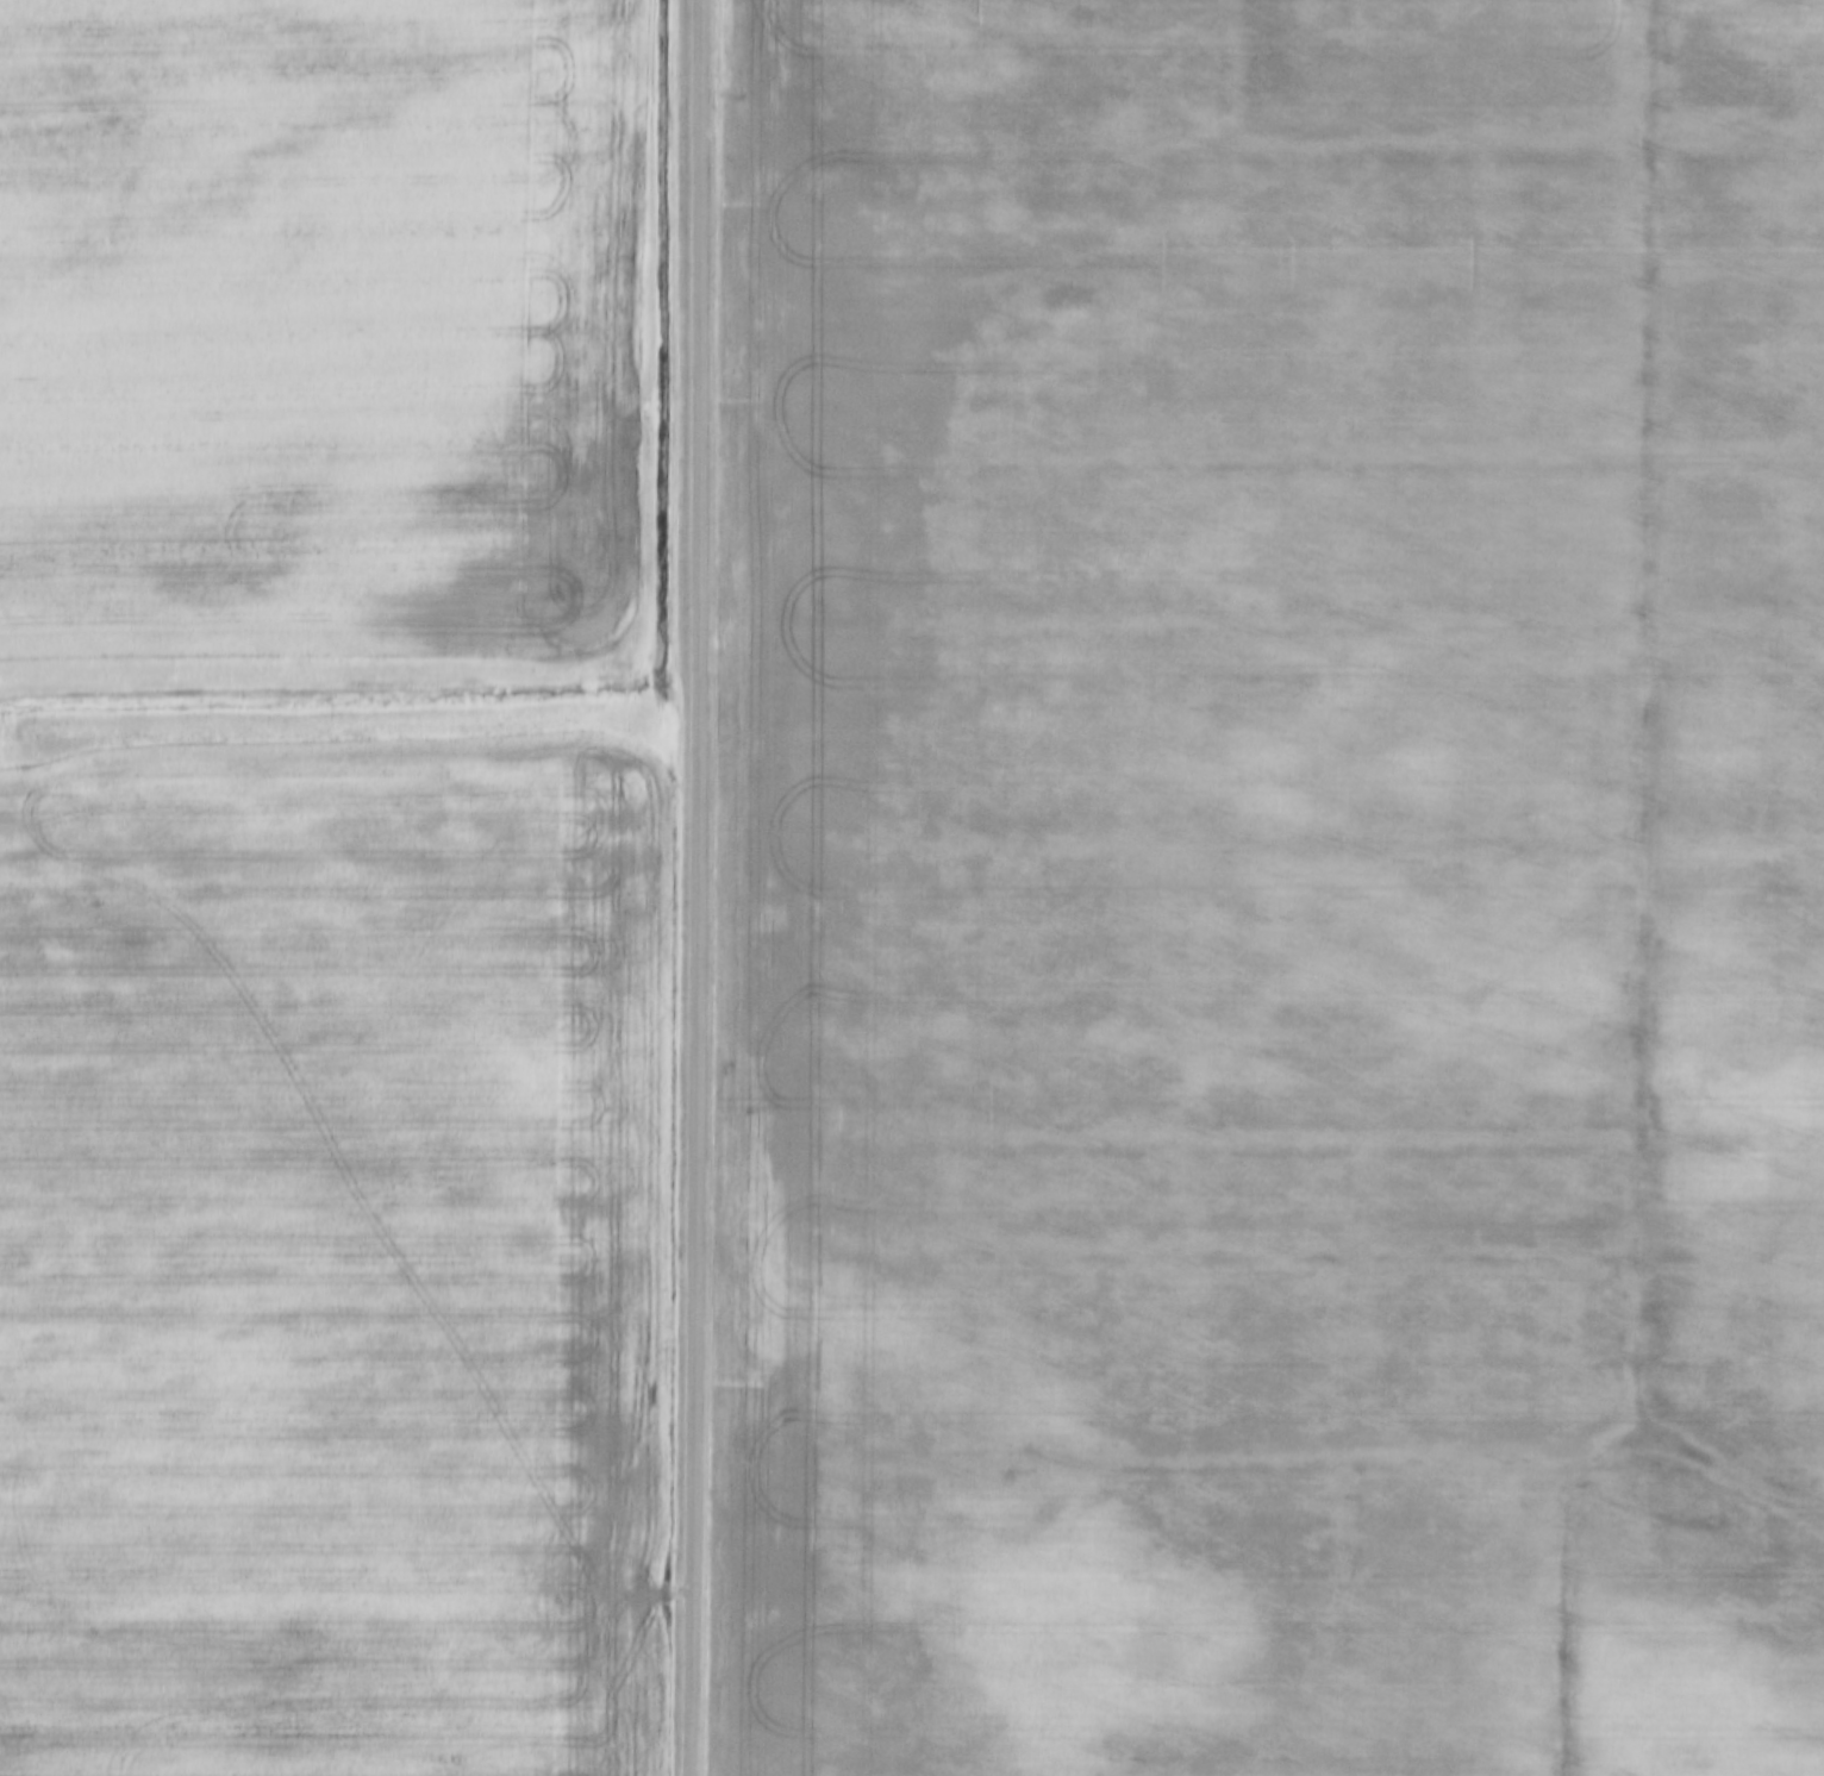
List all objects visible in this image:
road: (695, 888)

